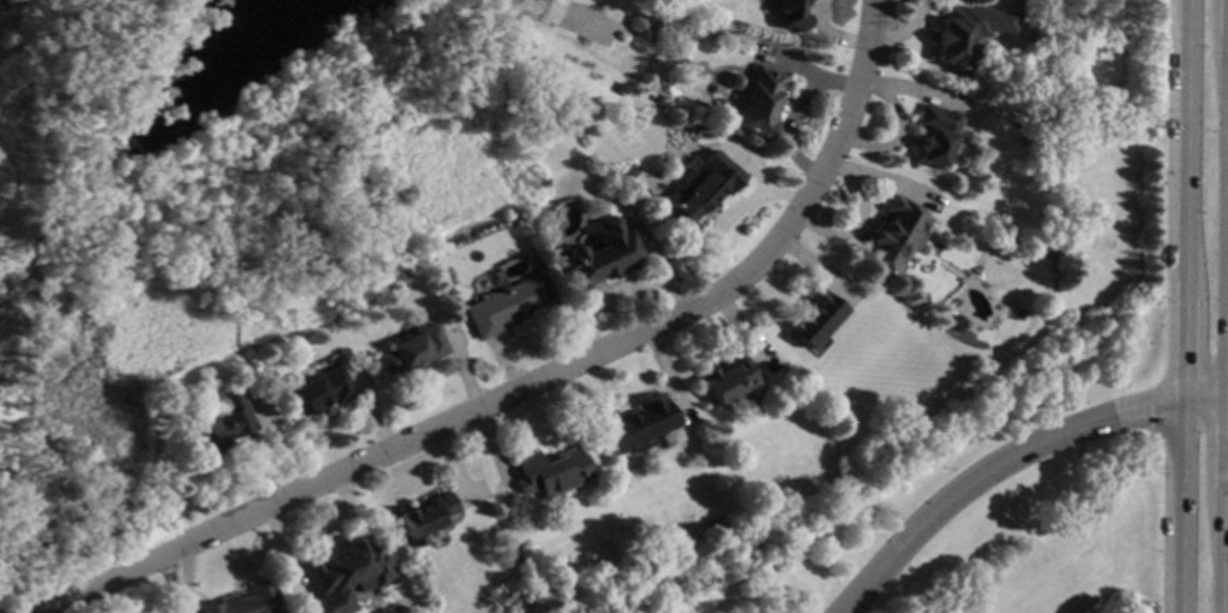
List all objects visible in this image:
building: (788, 14)
building: (635, 23)
building: (964, 33)
building: (729, 81)
building: (712, 90)
building: (754, 101)
building: (933, 135)
building: (540, 183)
building: (695, 193)
park: (240, 216)
building: (892, 235)
building: (598, 257)
building: (503, 303)
road: (1180, 306)
building: (812, 318)
building: (957, 323)
building: (409, 348)
road: (517, 379)
building: (727, 381)
building: (317, 389)
building: (634, 425)
building: (219, 426)
road: (1009, 456)
building: (548, 471)
road: (1226, 501)
park: (973, 503)
building: (422, 518)
building: (341, 574)
building: (245, 600)

